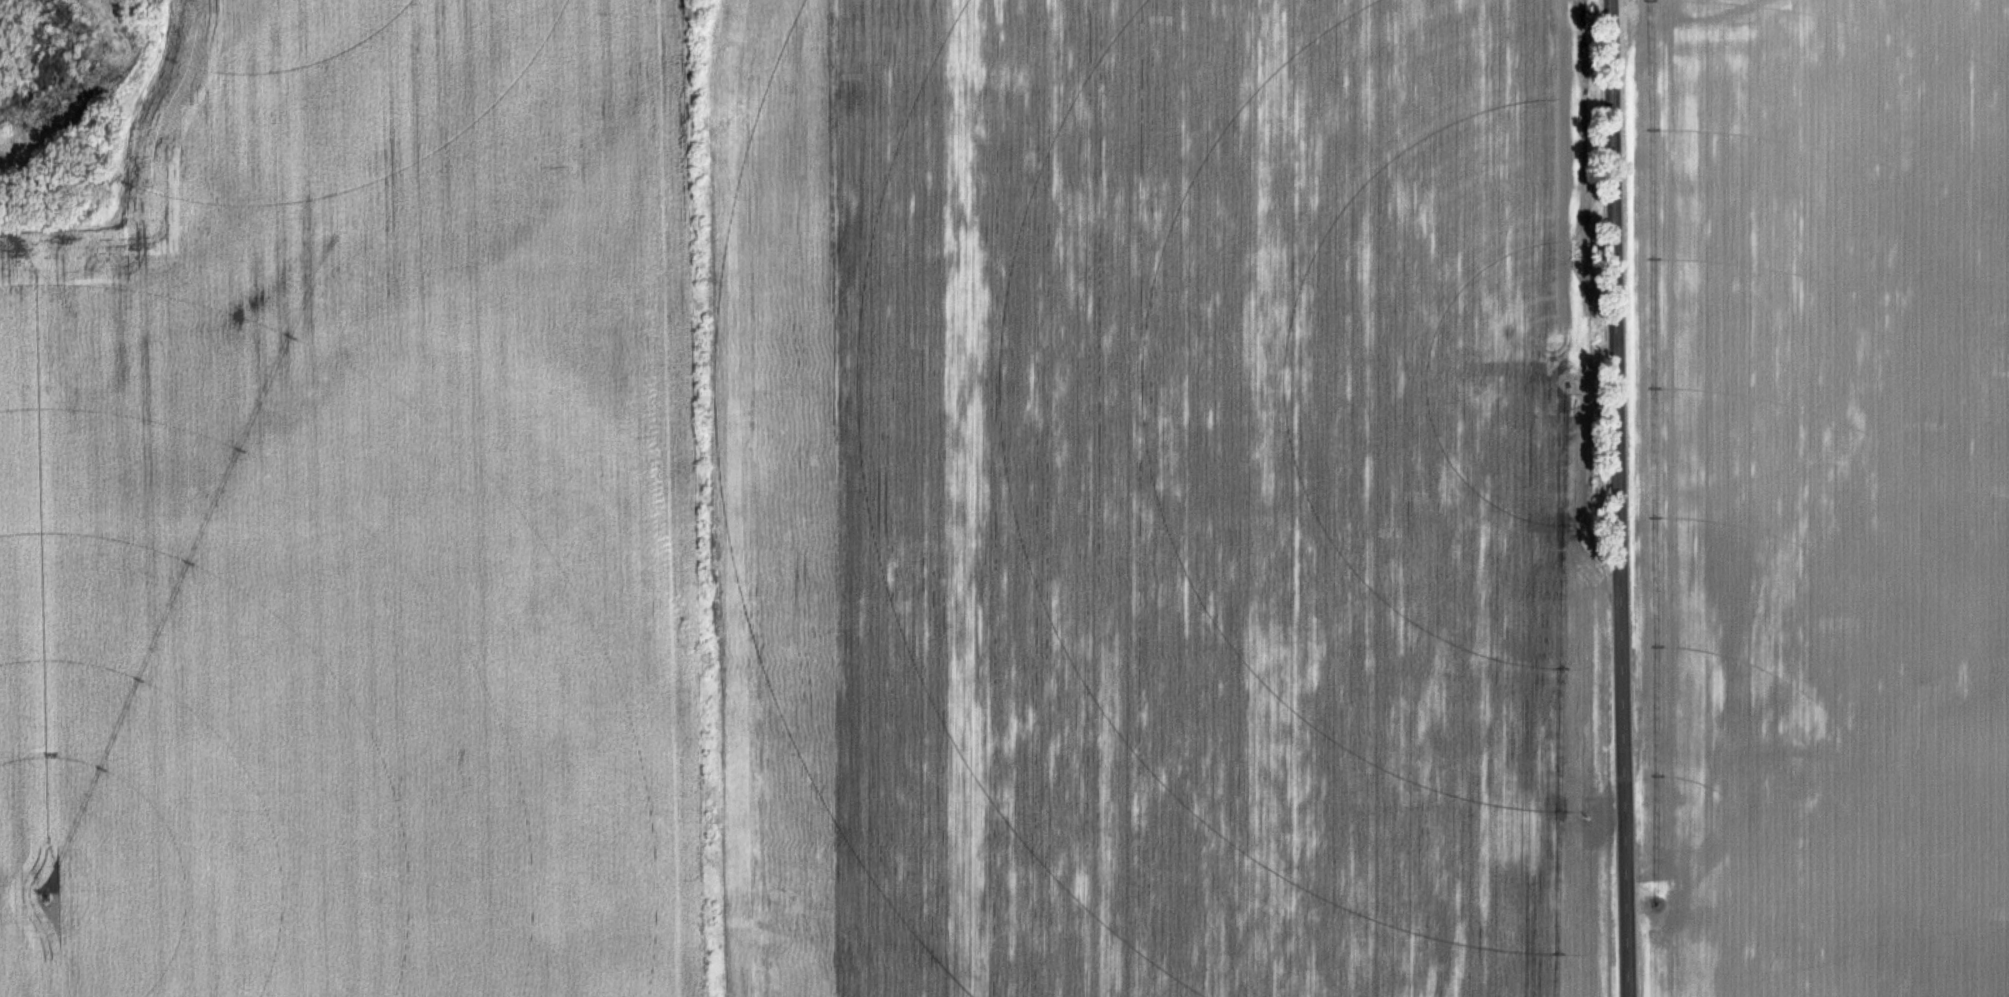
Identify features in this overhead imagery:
crop: (1829, 495)
road: (1619, 498)
crop: (1159, 500)
crop: (372, 518)

